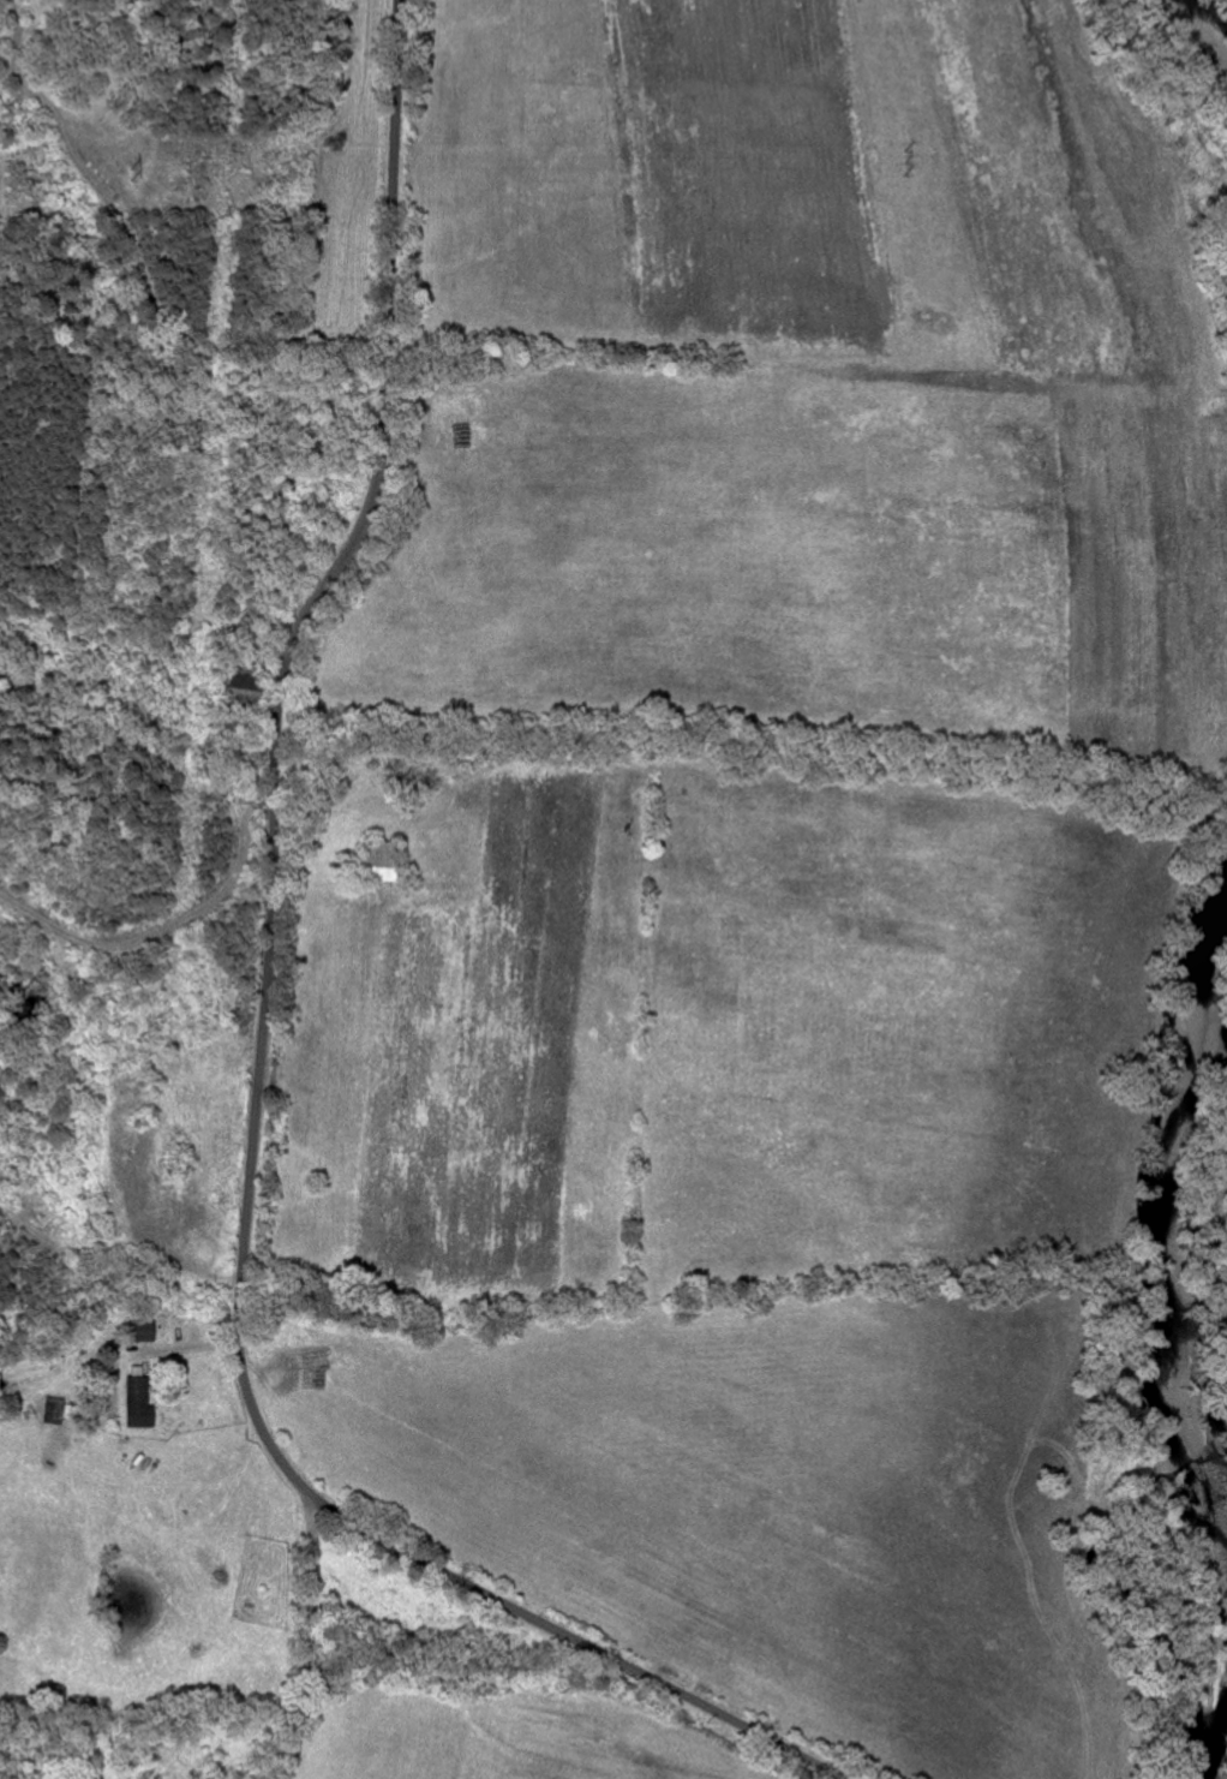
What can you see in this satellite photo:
power tower: (903, 161)
power tower: (137, 173)
road: (143, 939)
road: (263, 1044)
building: (143, 1331)
building: (143, 1405)
building: (58, 1411)
road: (311, 1635)

